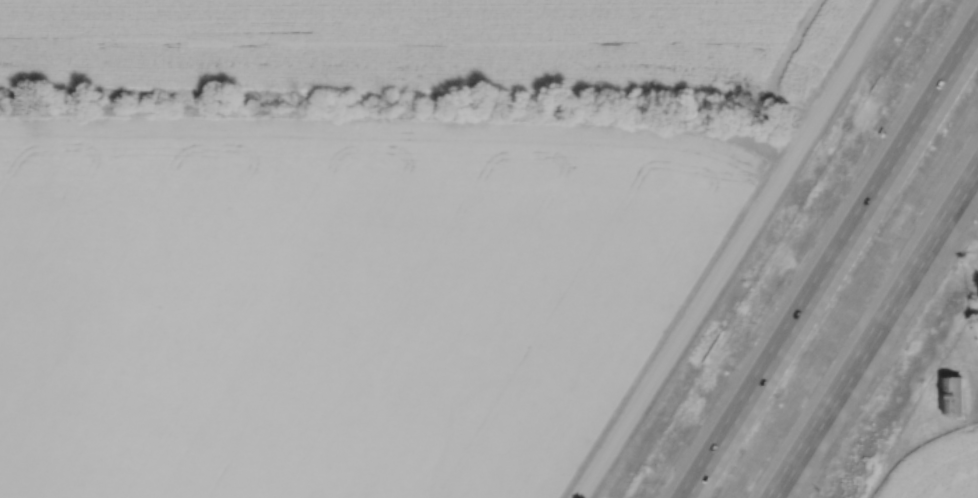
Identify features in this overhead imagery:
road: (736, 249)
road: (832, 264)
road: (885, 348)
building: (954, 395)

